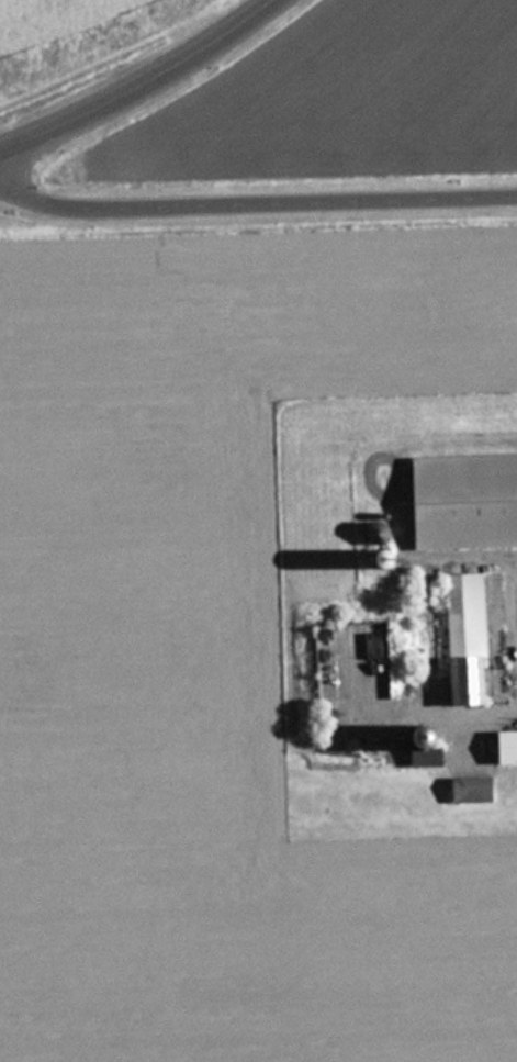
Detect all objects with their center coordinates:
road: (137, 82)
road: (255, 200)
building: (470, 500)
building: (472, 637)
building: (509, 745)
building: (476, 787)

